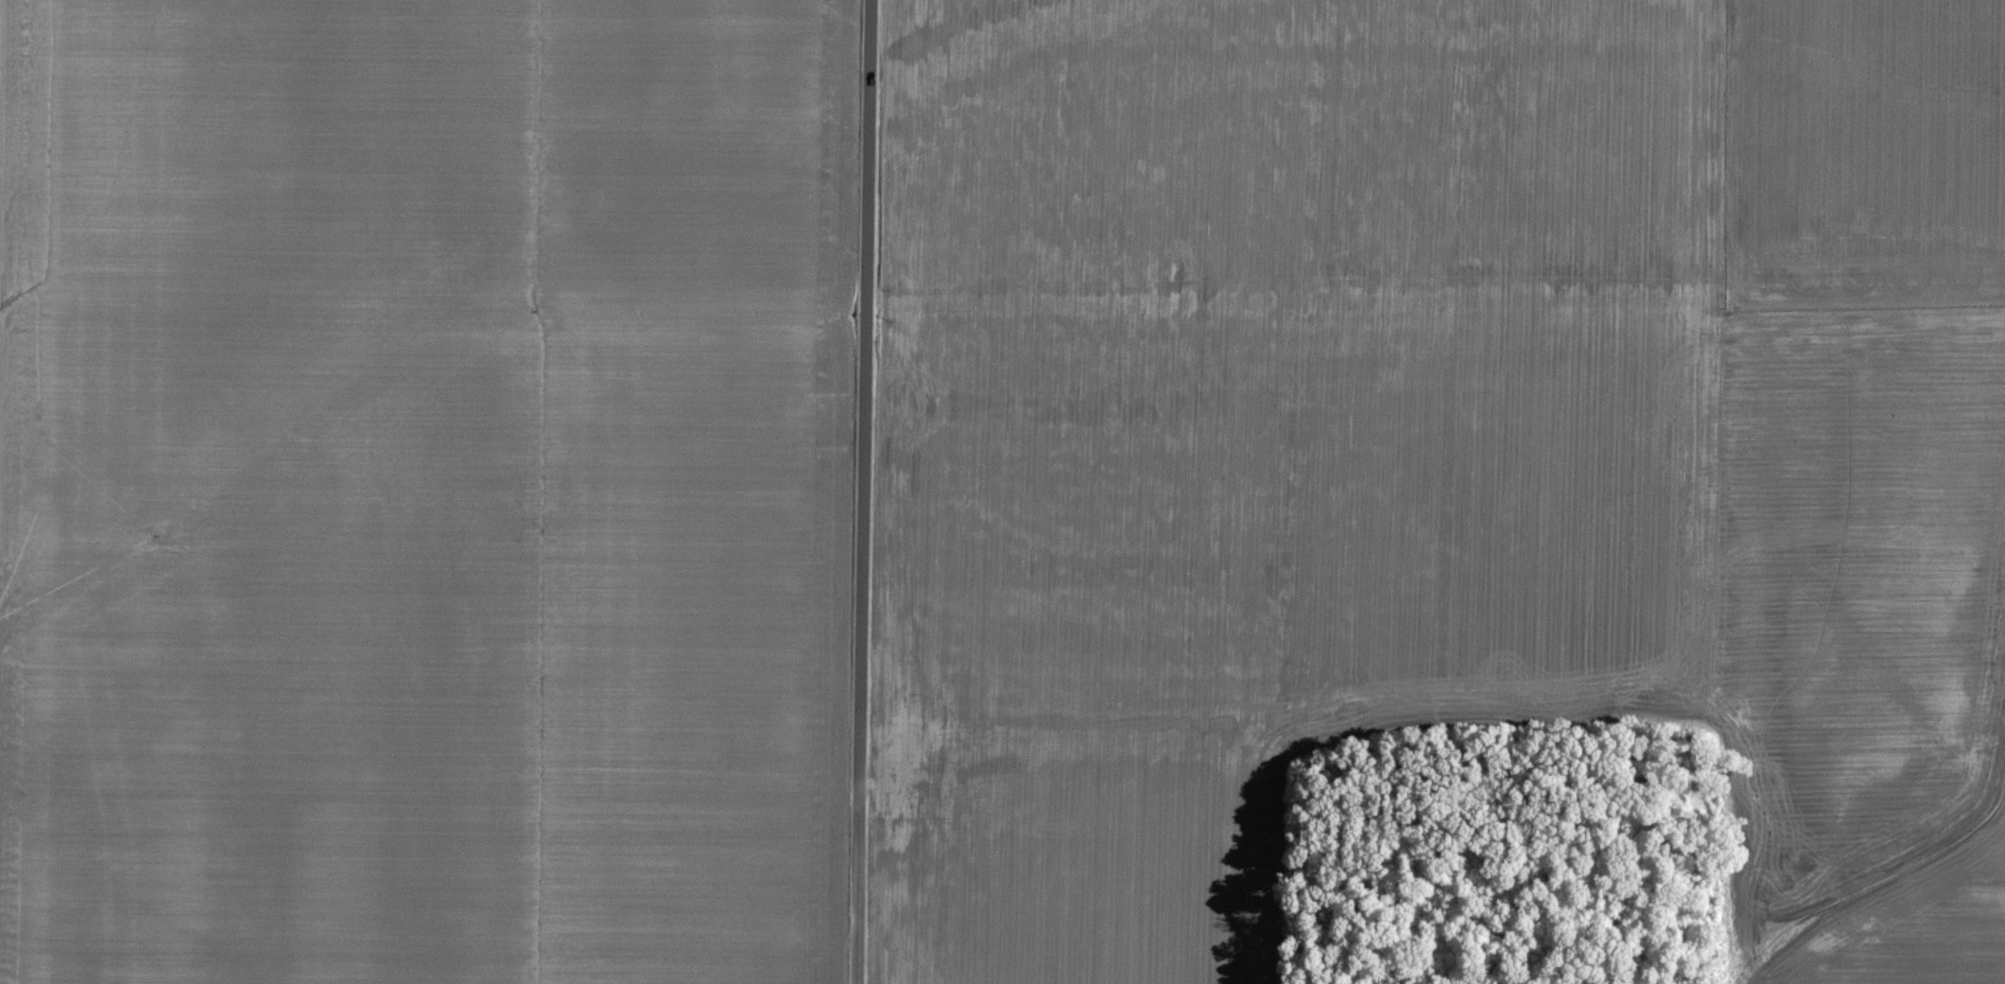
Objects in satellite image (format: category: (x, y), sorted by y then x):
road: (865, 492)

